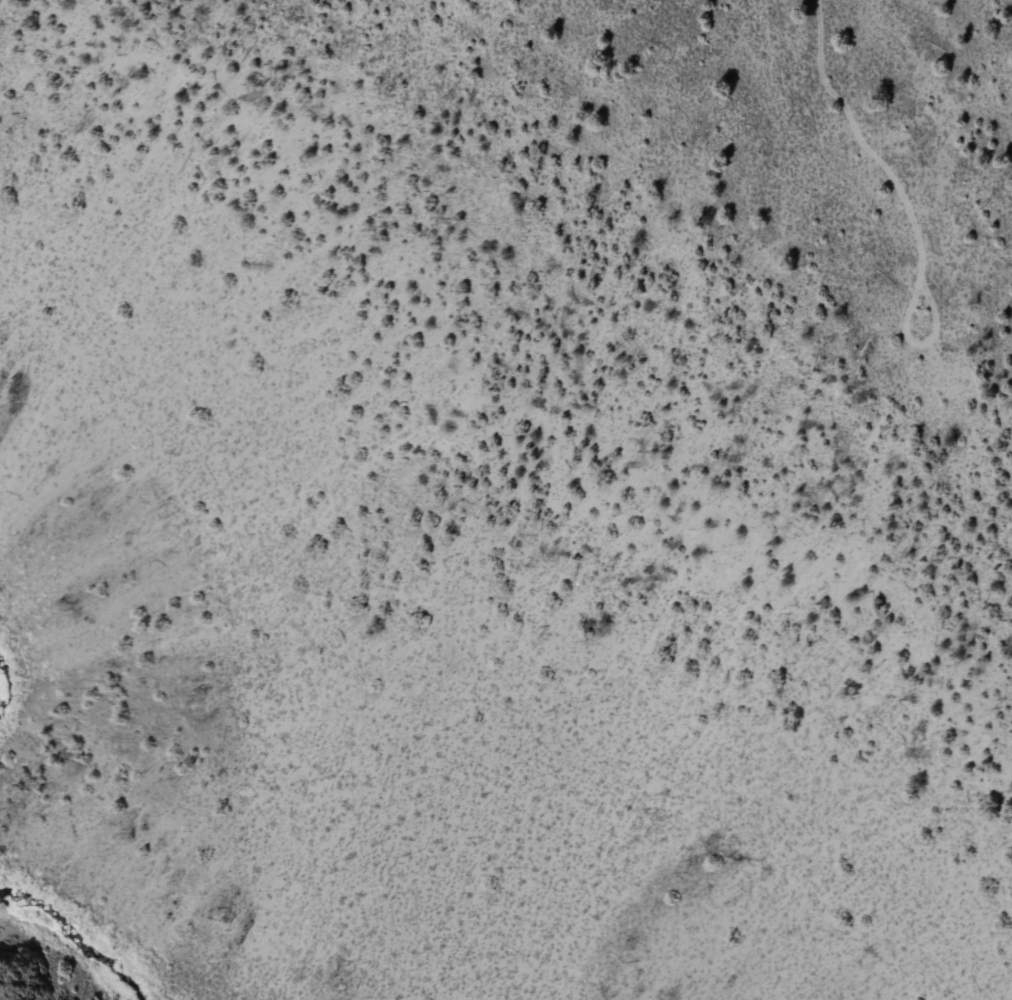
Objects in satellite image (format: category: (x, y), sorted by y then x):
road: (864, 140)
road: (918, 341)

